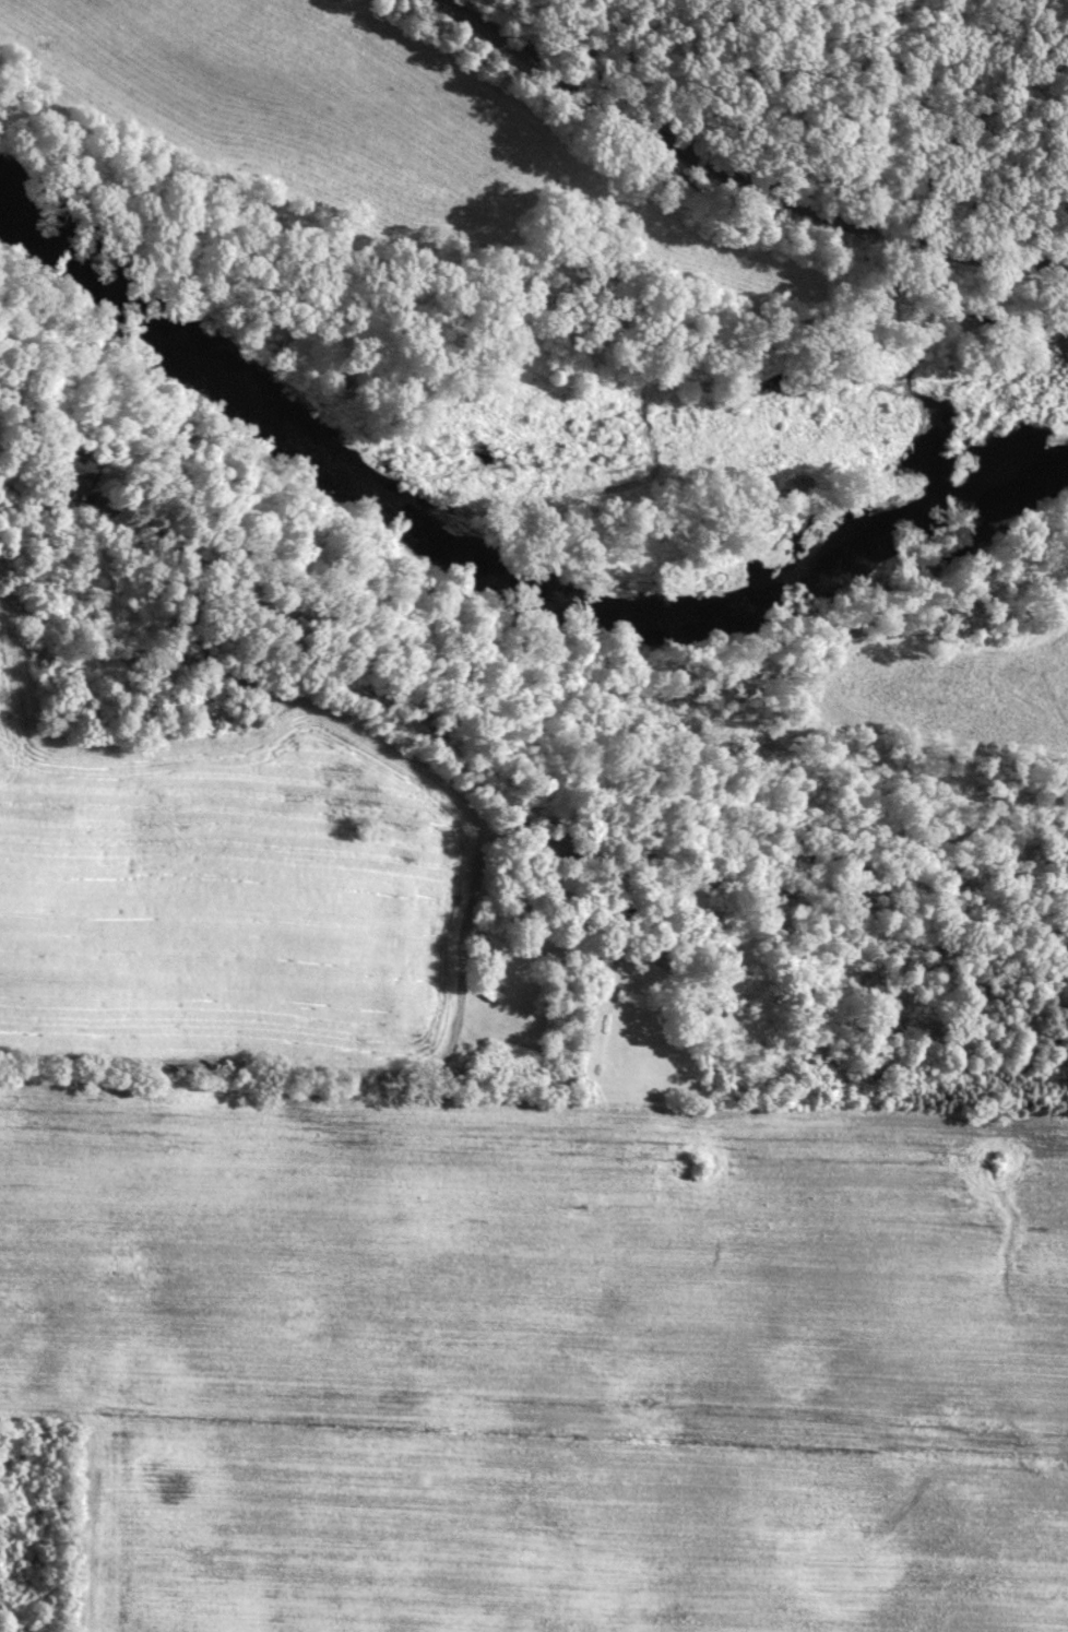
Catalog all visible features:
road: (745, 172)
building: (76, 464)
river: (499, 570)
road: (298, 626)

